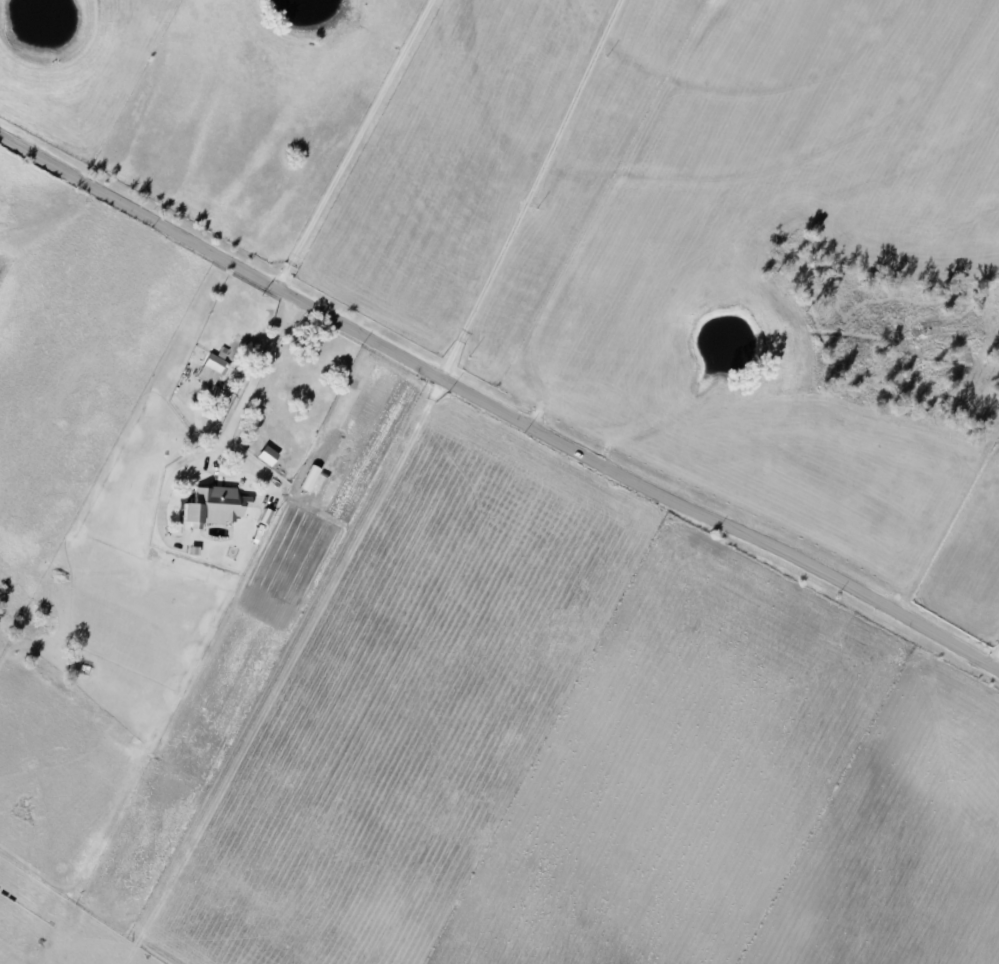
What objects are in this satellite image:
road: (352, 147)
road: (534, 188)
building: (215, 367)
road: (253, 377)
road: (529, 394)
road: (500, 405)
building: (270, 455)
building: (221, 504)
road: (995, 659)

